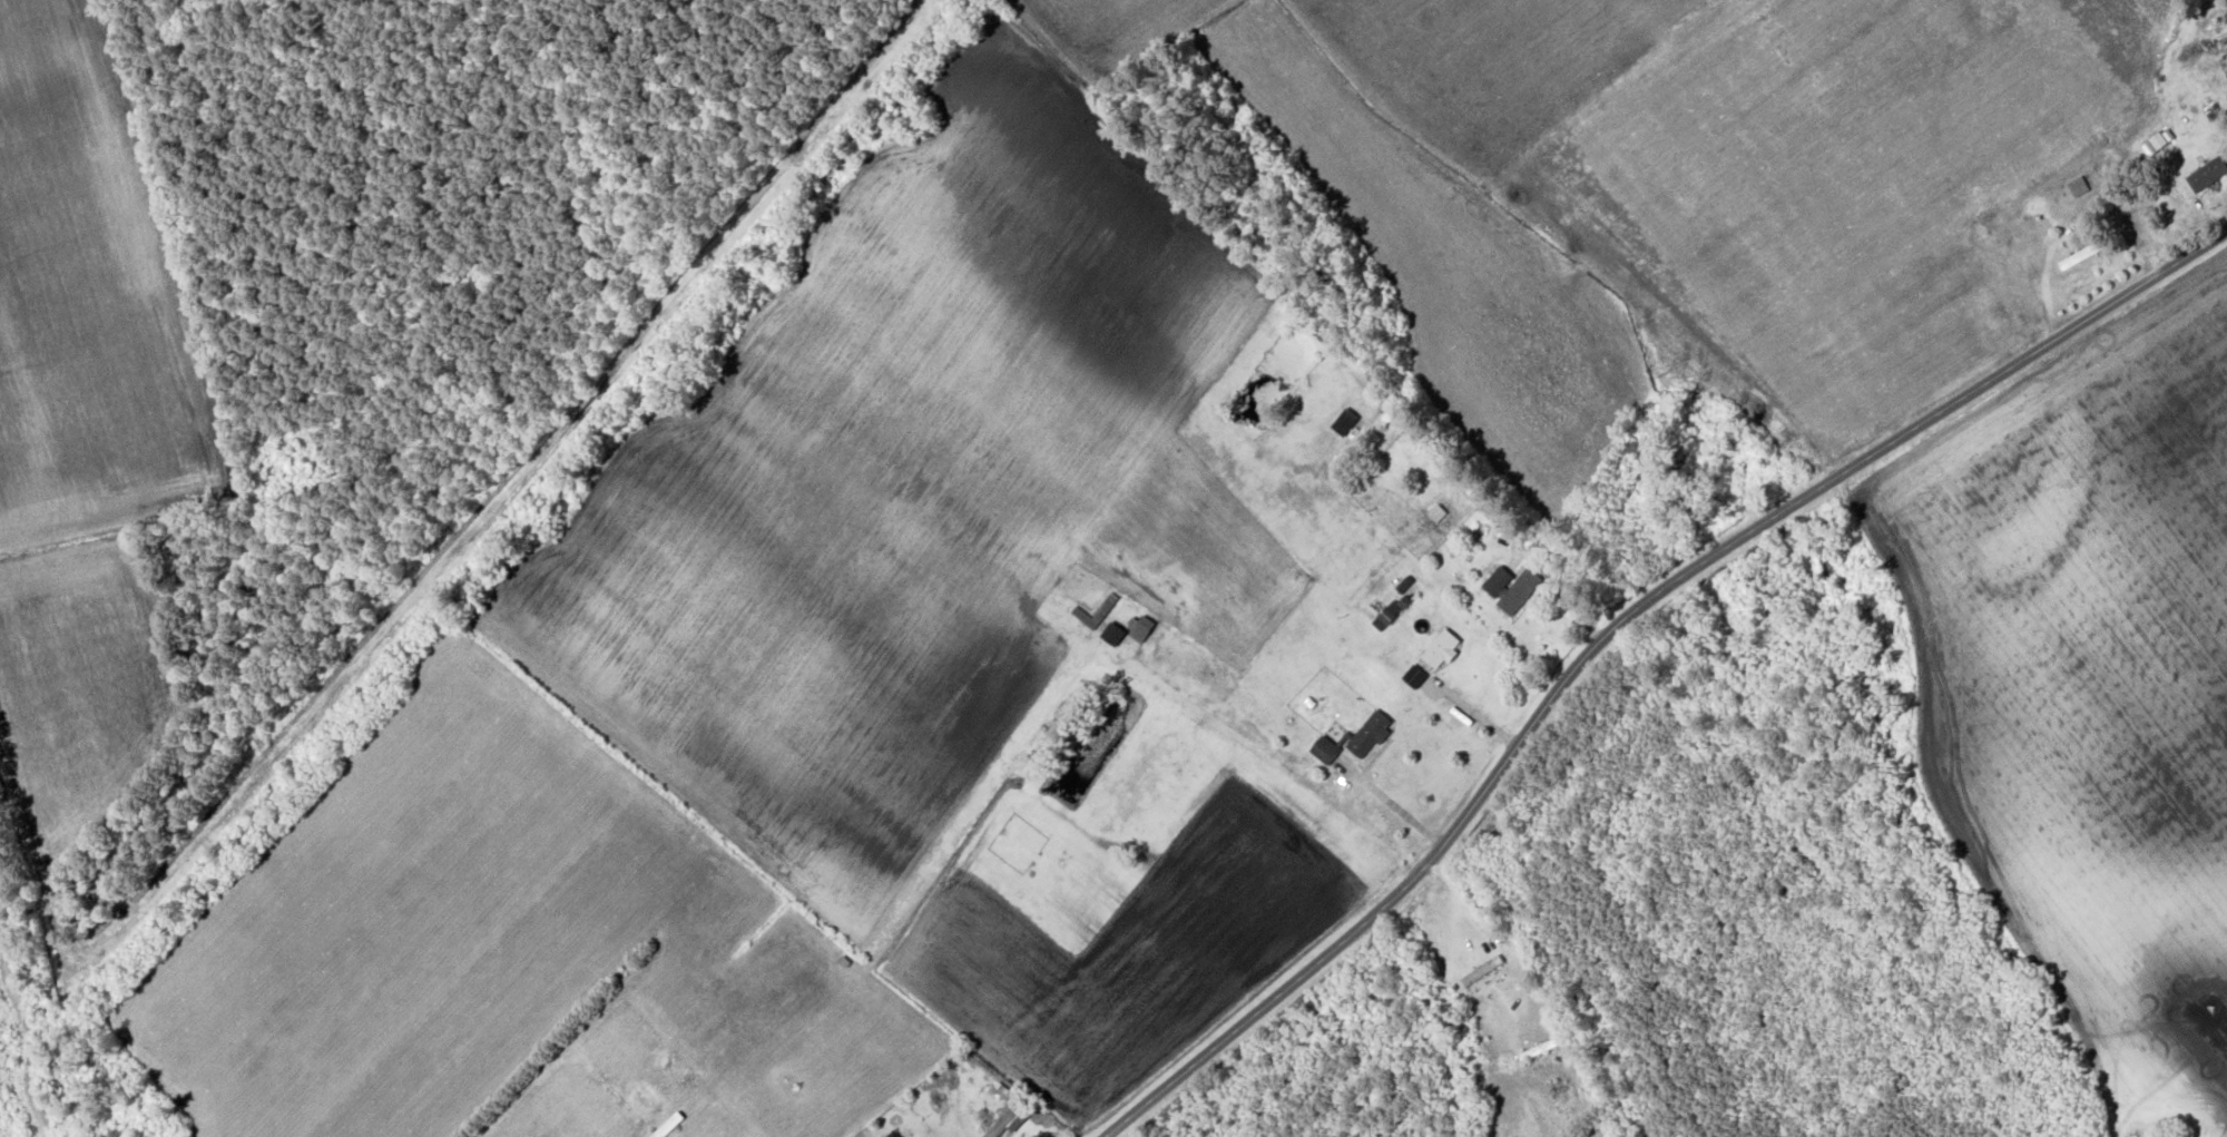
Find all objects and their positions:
building: (2208, 176)
building: (2171, 207)
building: (2143, 249)
building: (2076, 261)
building: (1344, 422)
road: (445, 545)
road: (1564, 585)
building: (1510, 589)
building: (1096, 614)
building: (1386, 617)
road: (1610, 621)
building: (1141, 630)
building: (1111, 636)
building: (1440, 649)
road: (1477, 712)
building: (1368, 736)
building: (1324, 752)
road: (1273, 762)
road: (1397, 811)
road: (1477, 908)
building: (1481, 973)
building: (1538, 1051)
road: (543, 1070)
building: (1009, 1125)

